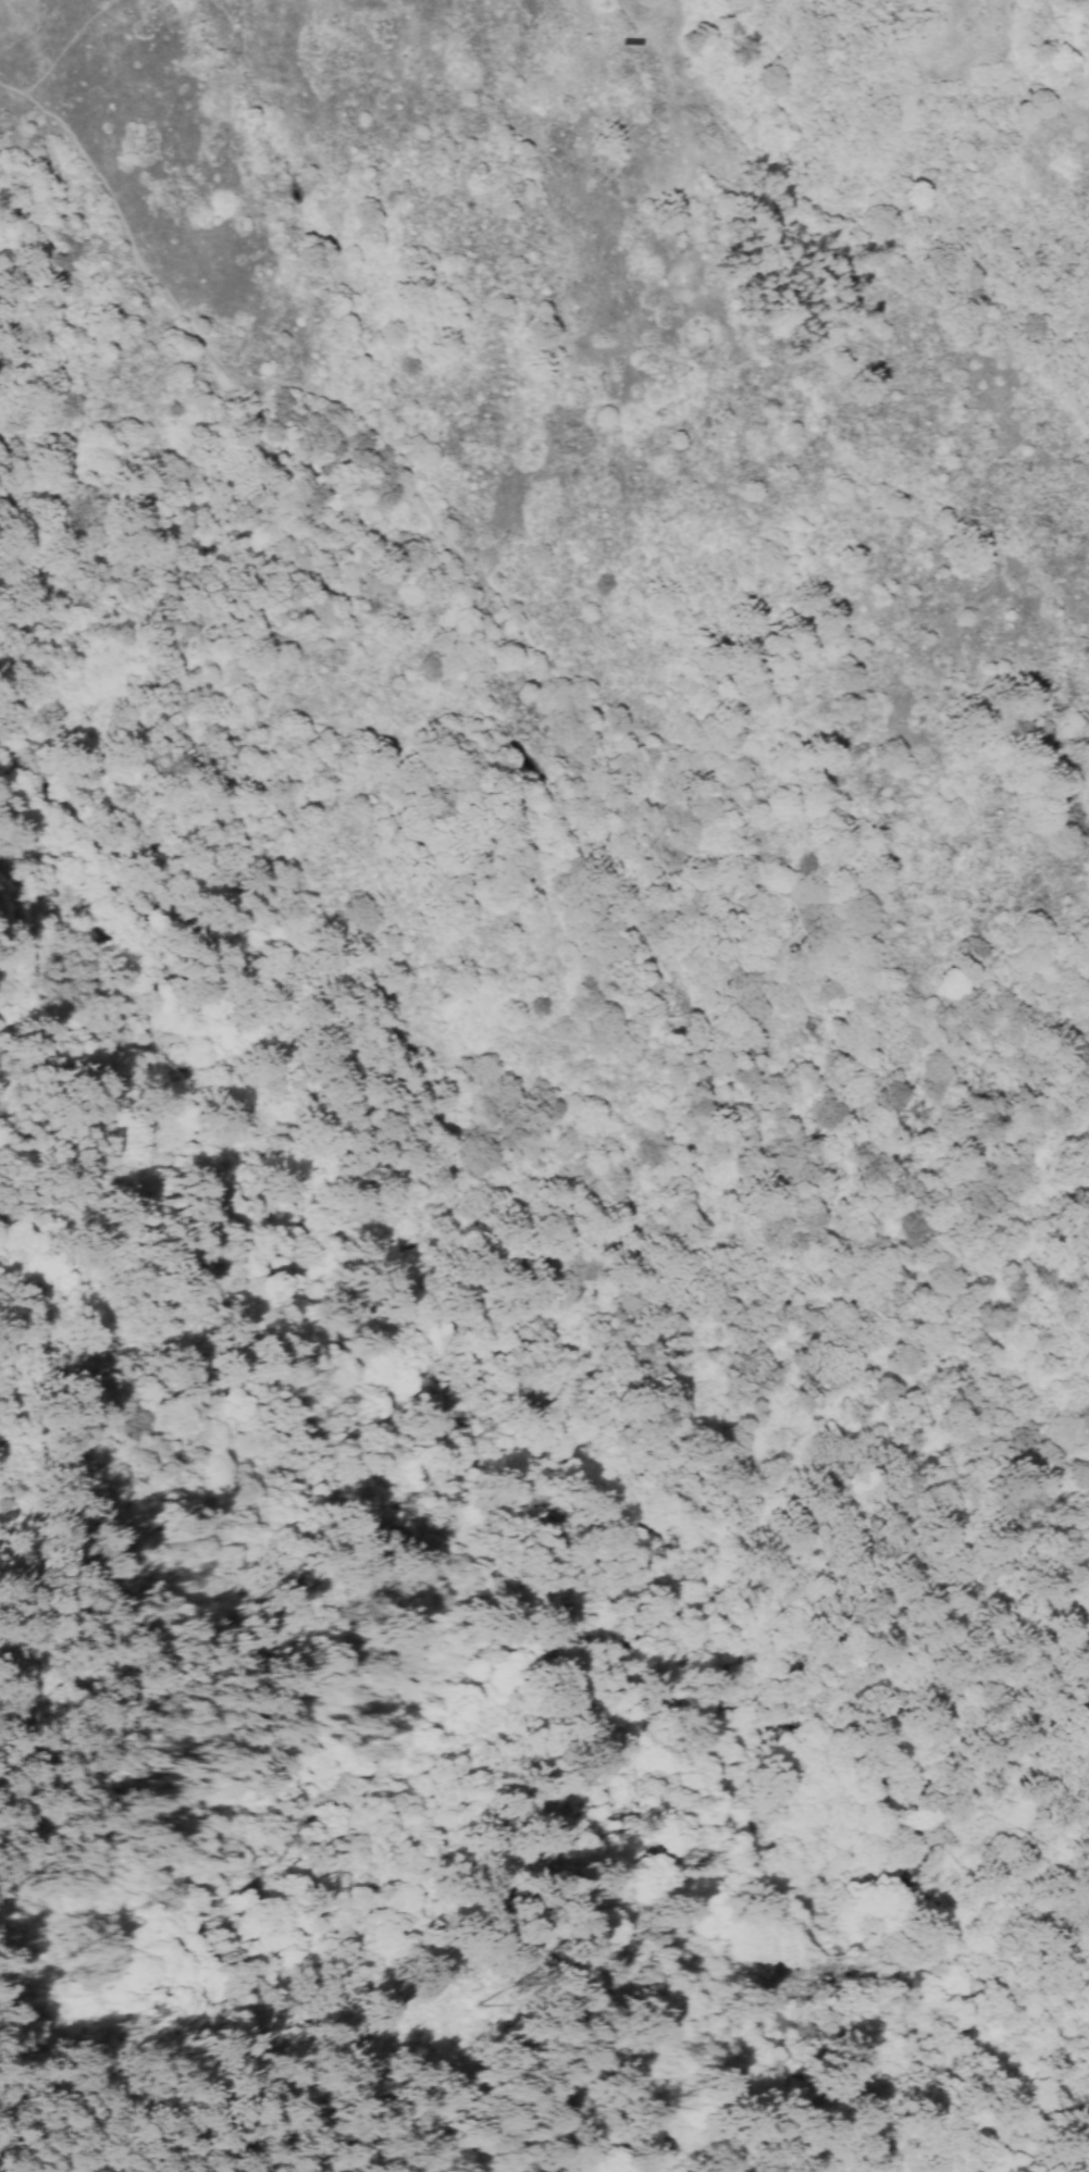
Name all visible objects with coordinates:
road: (627, 4)
road: (596, 727)

